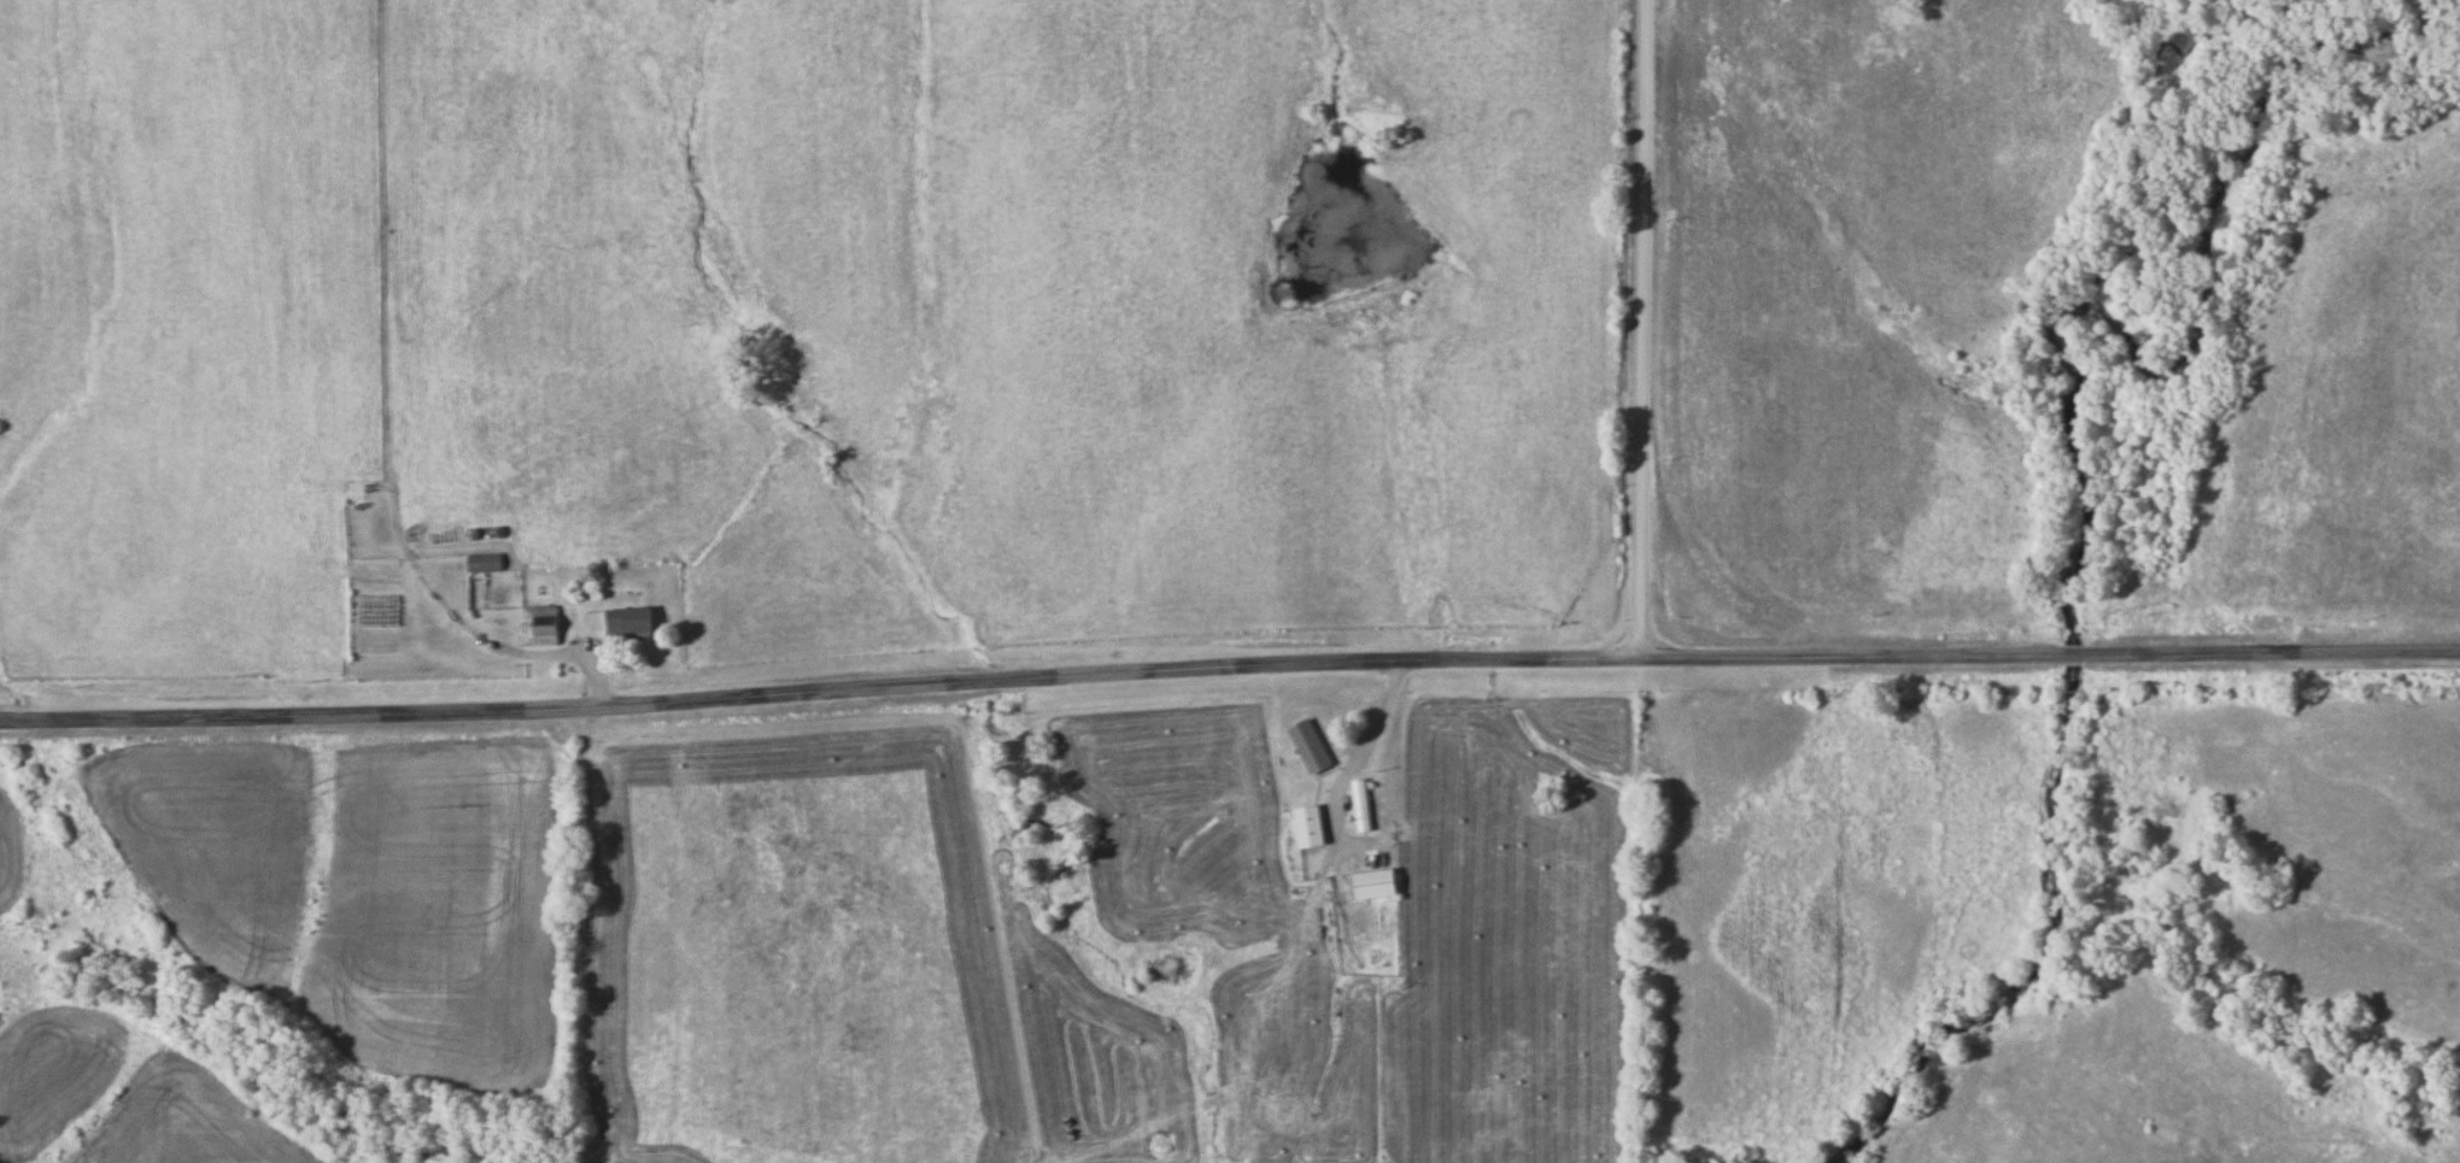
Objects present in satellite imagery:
road: (1642, 328)
building: (631, 622)
building: (541, 625)
road: (1229, 664)
building: (1310, 746)
building: (1361, 805)
building: (1308, 827)
building: (1376, 883)

